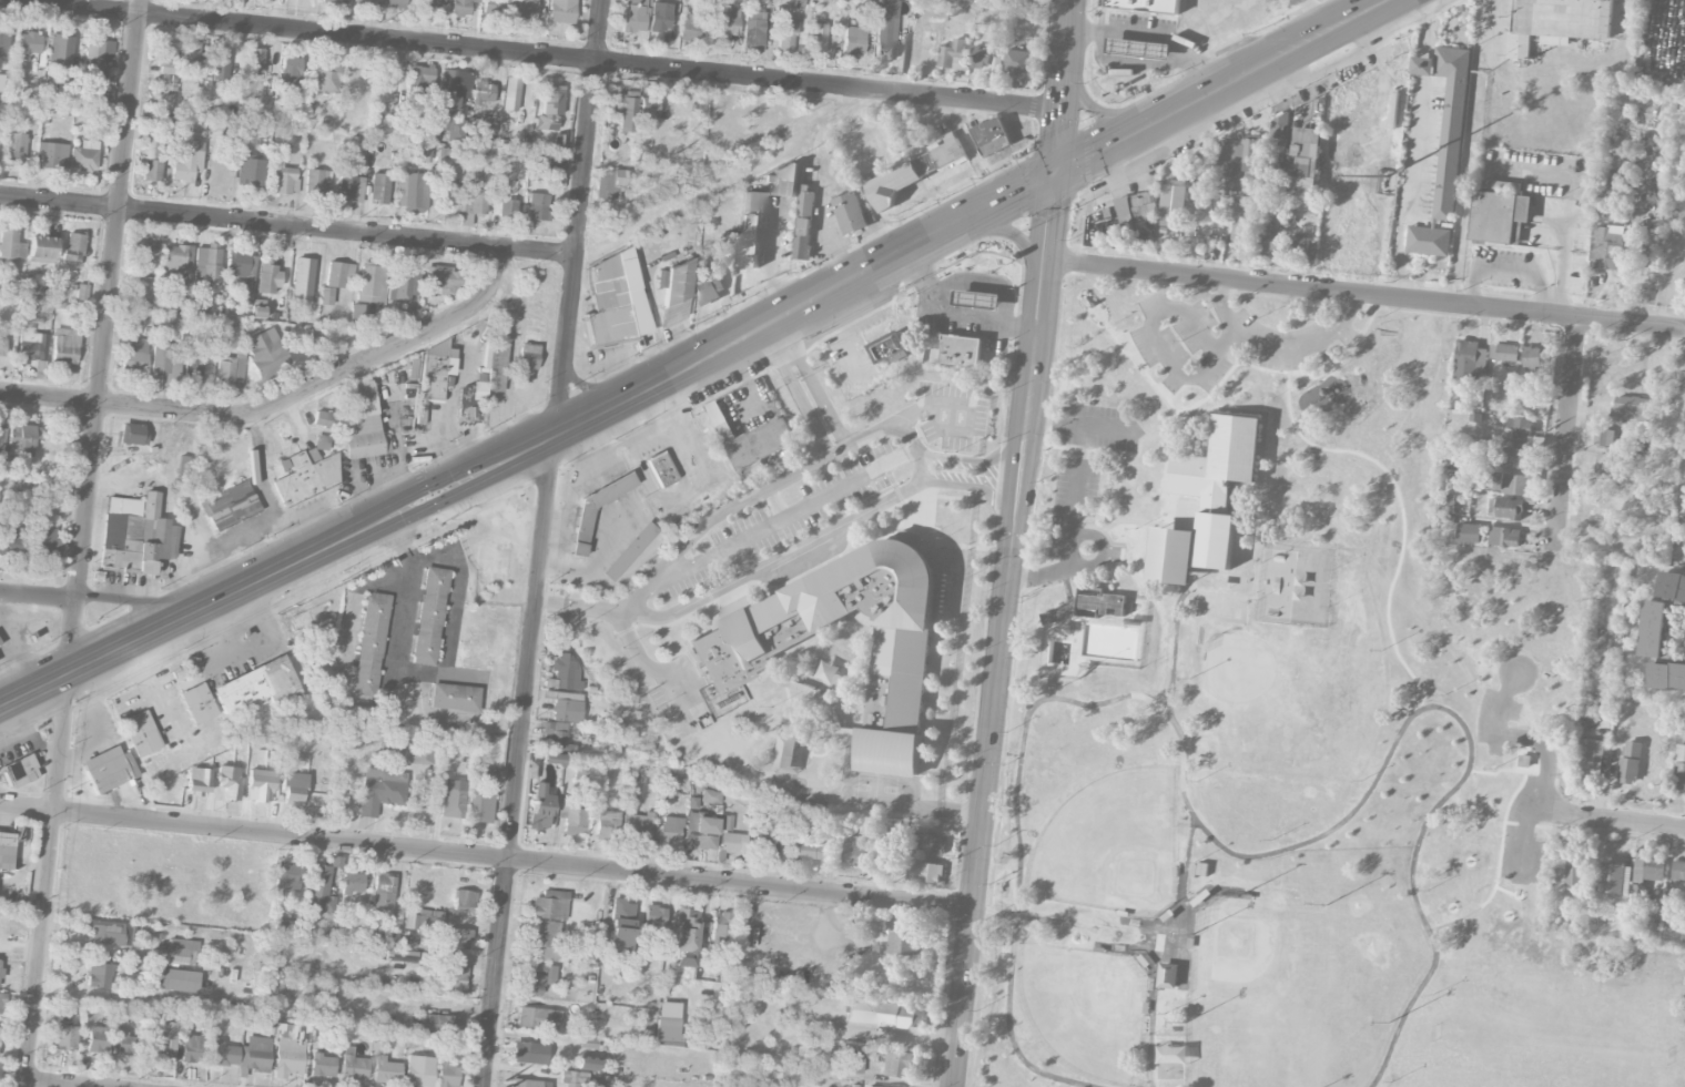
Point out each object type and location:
building: (1025, 0)
building: (334, 1)
building: (363, 1)
building: (870, 2)
building: (395, 3)
building: (796, 3)
building: (426, 4)
building: (1145, 6)
building: (460, 7)
building: (495, 8)
building: (525, 10)
building: (560, 11)
building: (633, 16)
building: (659, 17)
building: (724, 20)
building: (1557, 22)
building: (689, 28)
building: (753, 29)
road: (1156, 33)
building: (785, 35)
building: (818, 35)
building: (884, 38)
building: (853, 41)
building: (3, 42)
building: (29, 43)
building: (1139, 48)
building: (191, 52)
building: (60, 53)
road: (536, 55)
building: (953, 55)
building: (92, 59)
building: (166, 59)
building: (984, 59)
building: (254, 61)
building: (1017, 62)
building: (290, 68)
building: (325, 78)
building: (384, 78)
building: (1, 82)
building: (418, 85)
building: (451, 89)
building: (481, 94)
building: (510, 94)
road: (1422, 100)
building: (648, 108)
building: (549, 110)
road: (1098, 110)
building: (622, 111)
building: (450, 128)
road: (816, 128)
building: (1280, 128)
building: (992, 136)
building: (559, 144)
building: (1443, 148)
building: (16, 149)
building: (948, 151)
building: (427, 152)
building: (51, 156)
building: (83, 156)
building: (445, 159)
building: (1306, 160)
building: (152, 161)
building: (186, 162)
building: (1241, 163)
building: (250, 172)
traffic signals: (1057, 173)
building: (784, 180)
building: (284, 181)
building: (900, 181)
building: (1610, 181)
building: (313, 184)
building: (609, 184)
road: (1573, 184)
building: (1501, 185)
building: (378, 189)
building: (351, 190)
building: (410, 192)
building: (450, 192)
building: (1173, 201)
building: (473, 202)
building: (753, 202)
building: (537, 207)
building: (507, 209)
building: (850, 213)
building: (1135, 214)
building: (1499, 217)
building: (1244, 223)
building: (803, 225)
road: (287, 226)
road: (1011, 233)
building: (1269, 238)
building: (749, 241)
building: (10, 245)
building: (1608, 246)
building: (73, 247)
building: (1303, 247)
road: (1400, 248)
building: (41, 250)
building: (145, 256)
road: (1566, 257)
building: (176, 258)
building: (206, 267)
road: (1506, 270)
building: (242, 271)
building: (338, 274)
building: (303, 276)
building: (267, 278)
building: (403, 282)
building: (439, 282)
building: (372, 283)
building: (709, 286)
building: (672, 292)
building: (325, 296)
road: (1366, 296)
building: (977, 299)
building: (613, 301)
building: (199, 304)
building: (173, 305)
road: (957, 315)
building: (174, 318)
flagpole: (1112, 324)
flagpole: (1106, 329)
road: (1157, 344)
road: (394, 345)
building: (30, 346)
building: (64, 346)
building: (890, 346)
road: (1279, 346)
building: (2, 348)
building: (961, 351)
building: (1504, 353)
building: (267, 355)
building: (134, 356)
building: (1532, 356)
building: (1468, 359)
building: (160, 360)
road: (700, 360)
building: (526, 362)
road: (1135, 362)
building: (193, 368)
building: (231, 369)
building: (489, 372)
building: (434, 373)
street lamp: (1382, 378)
road: (815, 382)
road: (795, 393)
road: (128, 404)
building: (1631, 408)
road: (932, 409)
building: (418, 413)
building: (327, 420)
road: (1043, 420)
building: (721, 421)
building: (362, 424)
road: (1069, 424)
road: (1168, 425)
building: (1520, 427)
building: (132, 435)
road: (1565, 436)
building: (1, 437)
building: (1604, 438)
building: (21, 440)
road: (1200, 443)
road: (1260, 445)
building: (759, 447)
road: (915, 450)
building: (1515, 458)
road: (1077, 459)
road: (970, 461)
road: (1371, 461)
building: (1605, 465)
building: (660, 470)
building: (304, 478)
building: (1510, 482)
road: (1163, 484)
road: (973, 485)
road: (748, 497)
road: (1120, 497)
building: (1207, 500)
building: (599, 502)
building: (41, 506)
building: (230, 506)
building: (1506, 508)
road: (786, 515)
building: (1469, 534)
building: (134, 536)
building: (1504, 537)
building: (9, 541)
building: (44, 541)
road: (81, 542)
road: (542, 542)
road: (1013, 542)
building: (628, 551)
road: (776, 560)
road: (1094, 563)
road: (458, 577)
park: (1276, 585)
building: (1672, 587)
road: (1210, 591)
road: (38, 596)
building: (1088, 605)
road: (134, 606)
road: (577, 607)
building: (429, 616)
building: (1654, 629)
building: (369, 644)
street lamp: (1381, 649)
building: (734, 659)
road: (654, 670)
building: (566, 672)
building: (1667, 677)
park: (1260, 687)
building: (256, 688)
street lamp: (1442, 693)
building: (454, 698)
building: (197, 703)
building: (566, 708)
parking lot: (1495, 719)
building: (551, 729)
building: (141, 733)
park: (1287, 734)
road: (1510, 736)
building: (393, 748)
road: (1021, 753)
building: (420, 754)
building: (1590, 756)
building: (551, 760)
building: (1630, 762)
street lamp: (1491, 765)
building: (1679, 768)
building: (105, 769)
building: (17, 773)
building: (485, 778)
street lamp: (1360, 779)
building: (193, 782)
building: (261, 784)
building: (229, 785)
building: (380, 790)
building: (293, 794)
building: (629, 799)
building: (451, 800)
building: (478, 805)
road: (896, 805)
road: (1567, 806)
building: (538, 809)
street lamp: (1451, 811)
road: (1429, 815)
building: (572, 820)
road: (1638, 820)
building: (606, 823)
building: (725, 823)
building: (639, 824)
building: (890, 826)
building: (667, 831)
building: (700, 832)
road: (1524, 837)
street lamp: (1271, 839)
building: (765, 841)
building: (732, 842)
building: (782, 842)
building: (933, 844)
park: (1112, 845)
building: (6, 851)
building: (811, 851)
building: (854, 852)
parking lot: (1523, 852)
road: (486, 857)
building: (885, 863)
building: (1648, 868)
building: (925, 872)
building: (1575, 872)
building: (1678, 872)
building: (286, 877)
building: (1614, 877)
building: (353, 883)
street lamp: (1425, 888)
street lamp: (1237, 890)
building: (319, 894)
building: (1638, 894)
building: (382, 896)
street lamp: (1326, 900)
building: (464, 901)
building: (550, 906)
building: (419, 920)
building: (654, 920)
building: (3, 923)
road: (1141, 923)
building: (620, 927)
building: (720, 929)
building: (110, 934)
building: (457, 938)
building: (684, 938)
building: (542, 941)
road: (1157, 943)
building: (902, 944)
road: (1164, 949)
road: (19, 952)
building: (181, 953)
building: (400, 956)
building: (0, 965)
building: (1168, 975)
building: (99, 976)
building: (536, 978)
building: (175, 981)
building: (453, 982)
park: (1286, 992)
road: (1410, 1000)
building: (1, 1003)
park: (1085, 1009)
building: (885, 1014)
building: (537, 1019)
building: (435, 1026)
building: (667, 1029)
park: (1545, 1029)
road: (892, 1034)
building: (64, 1036)
building: (113, 1037)
building: (98, 1039)
building: (161, 1040)
building: (129, 1045)
building: (193, 1049)
building: (287, 1053)
building: (528, 1054)
building: (224, 1055)
building: (257, 1055)
building: (587, 1064)
building: (900, 1064)
building: (353, 1065)
building: (322, 1066)
building: (855, 1066)
building: (385, 1070)
building: (418, 1071)
building: (446, 1076)
building: (573, 1077)
road: (51, 1084)
building: (529, 1084)

